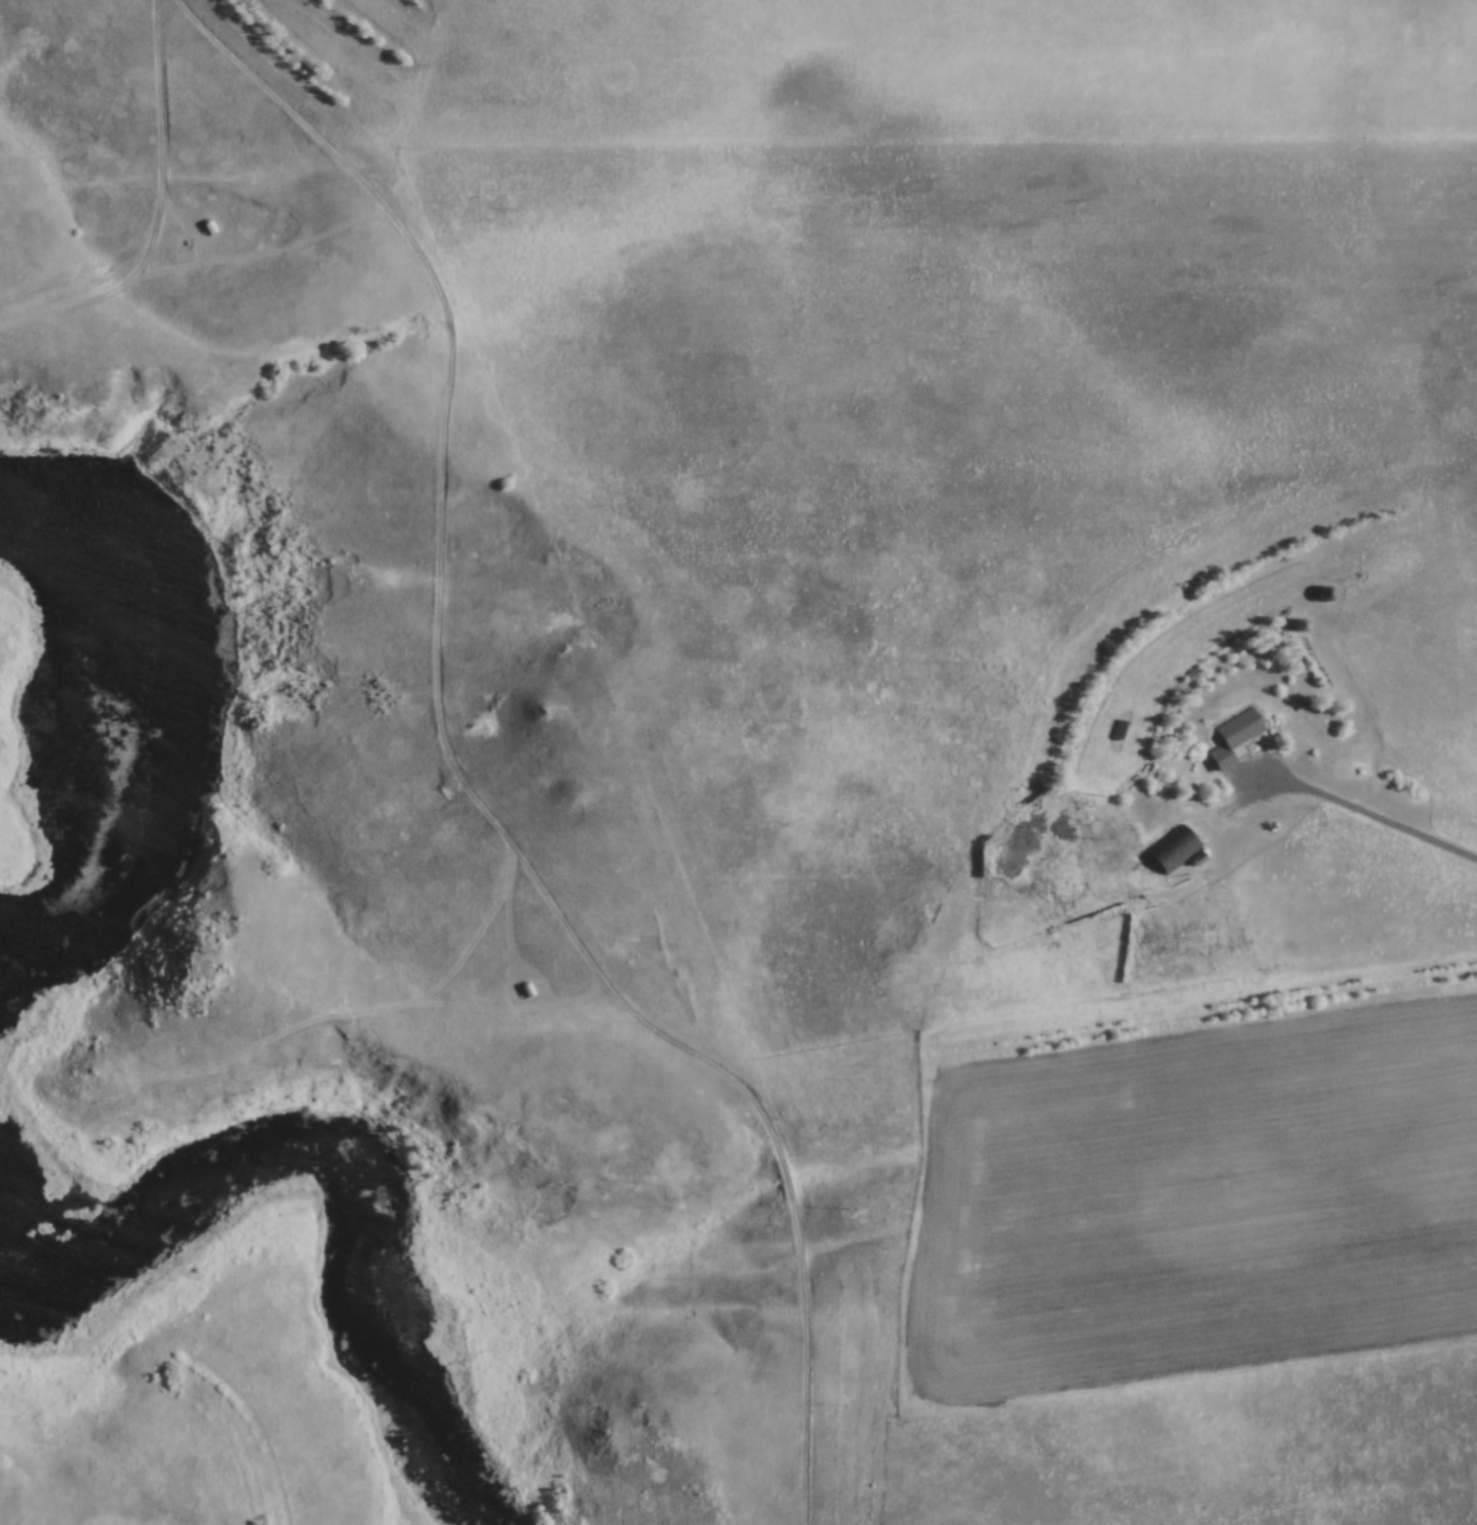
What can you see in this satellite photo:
road: (160, 210)
road: (1258, 499)
building: (1321, 590)
building: (869, 687)
building: (1231, 737)
park: (413, 760)
road: (460, 773)
road: (1356, 808)
building: (1172, 850)
road: (397, 1004)

